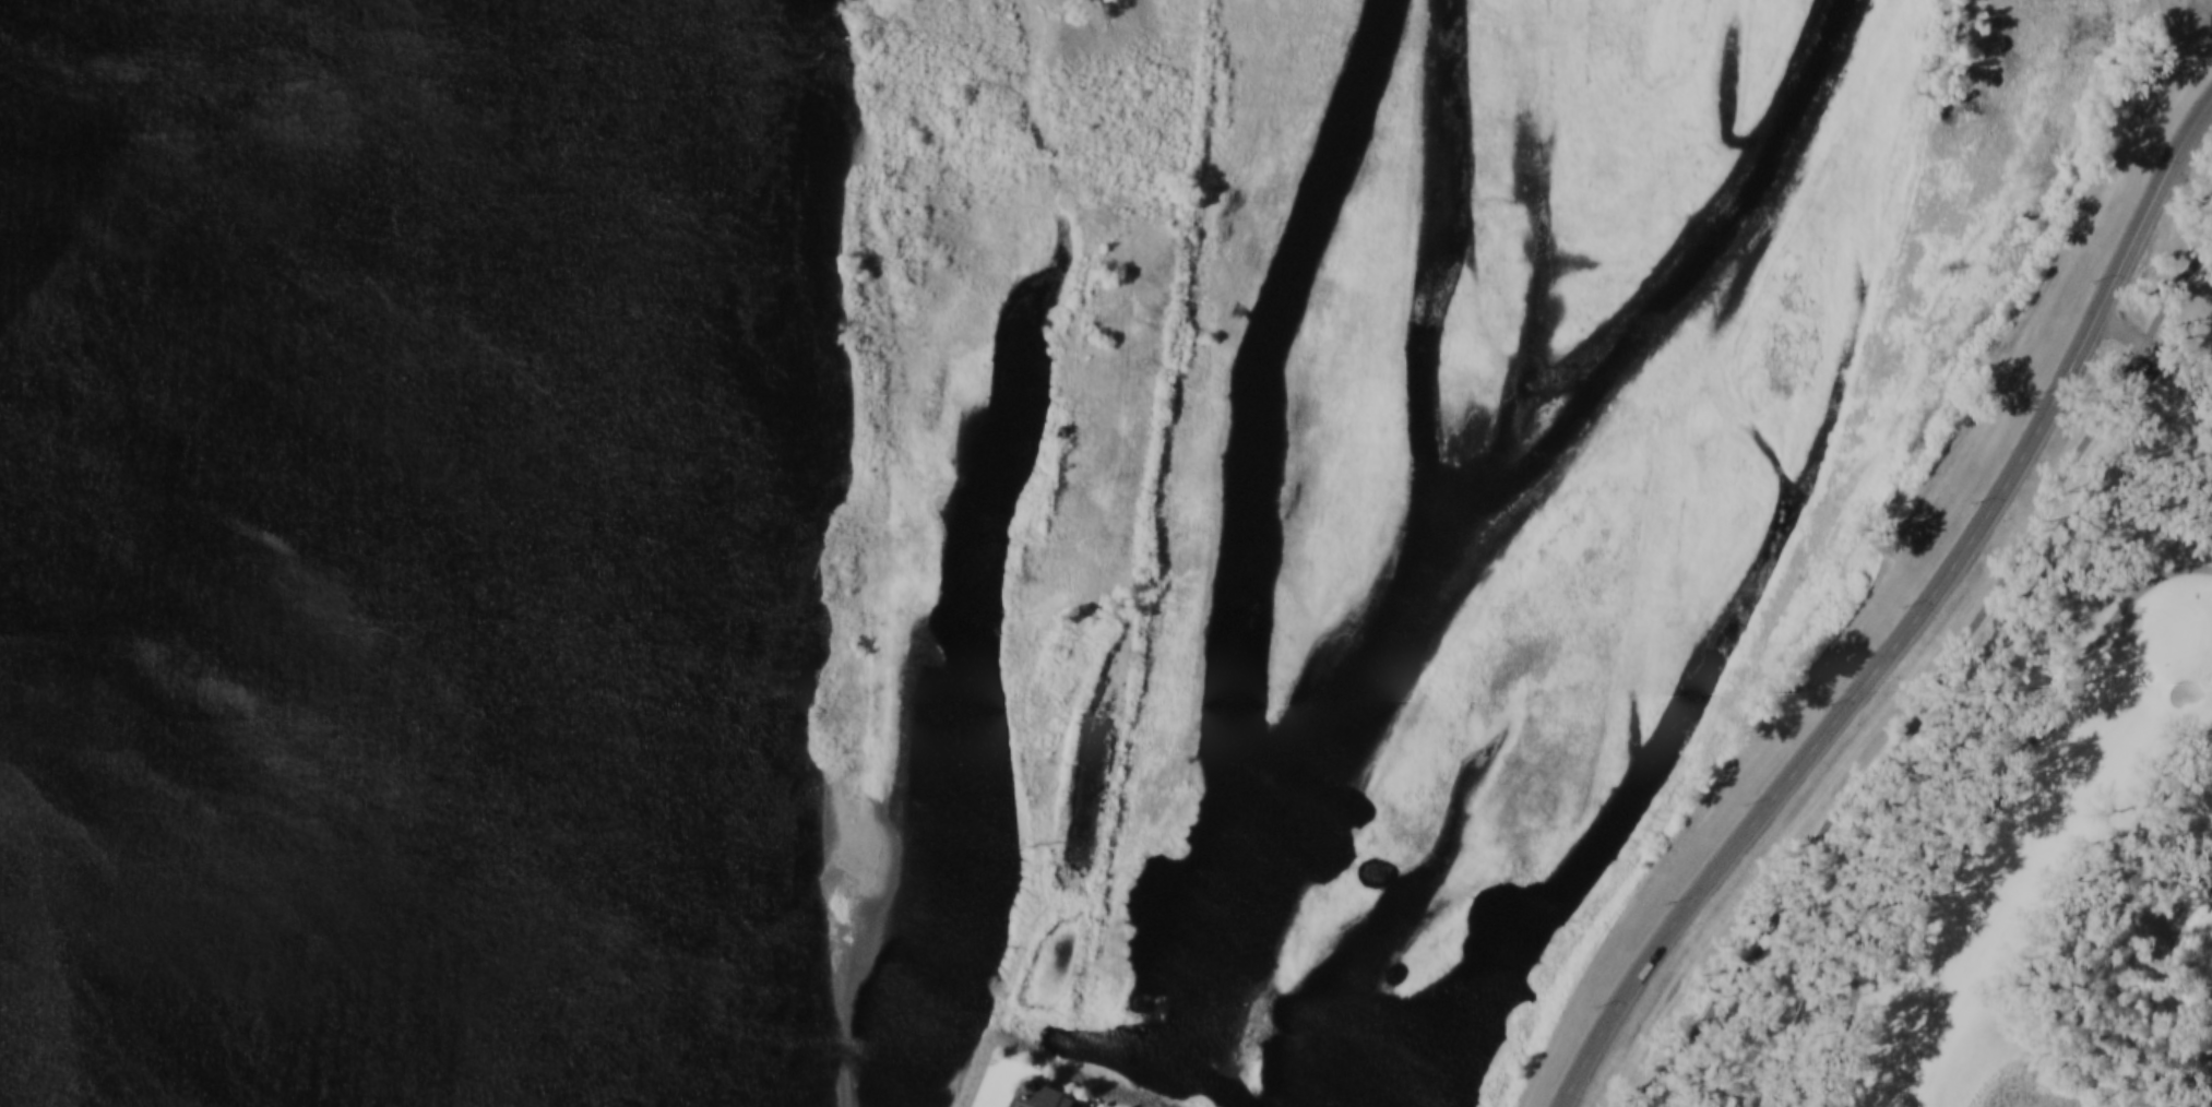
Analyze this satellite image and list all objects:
street lamp: (2151, 166)
street lamp: (2096, 279)
road: (2166, 358)
street lamp: (2041, 393)
street lamp: (1976, 503)
river: (533, 556)
street lamp: (1905, 606)
road: (1915, 621)
road: (1936, 686)
street lamp: (1827, 705)
street lamp: (1748, 804)
road: (1997, 812)
park: (2053, 833)
street lamp: (1669, 903)
street lamp: (1598, 1007)
building: (1048, 1094)

